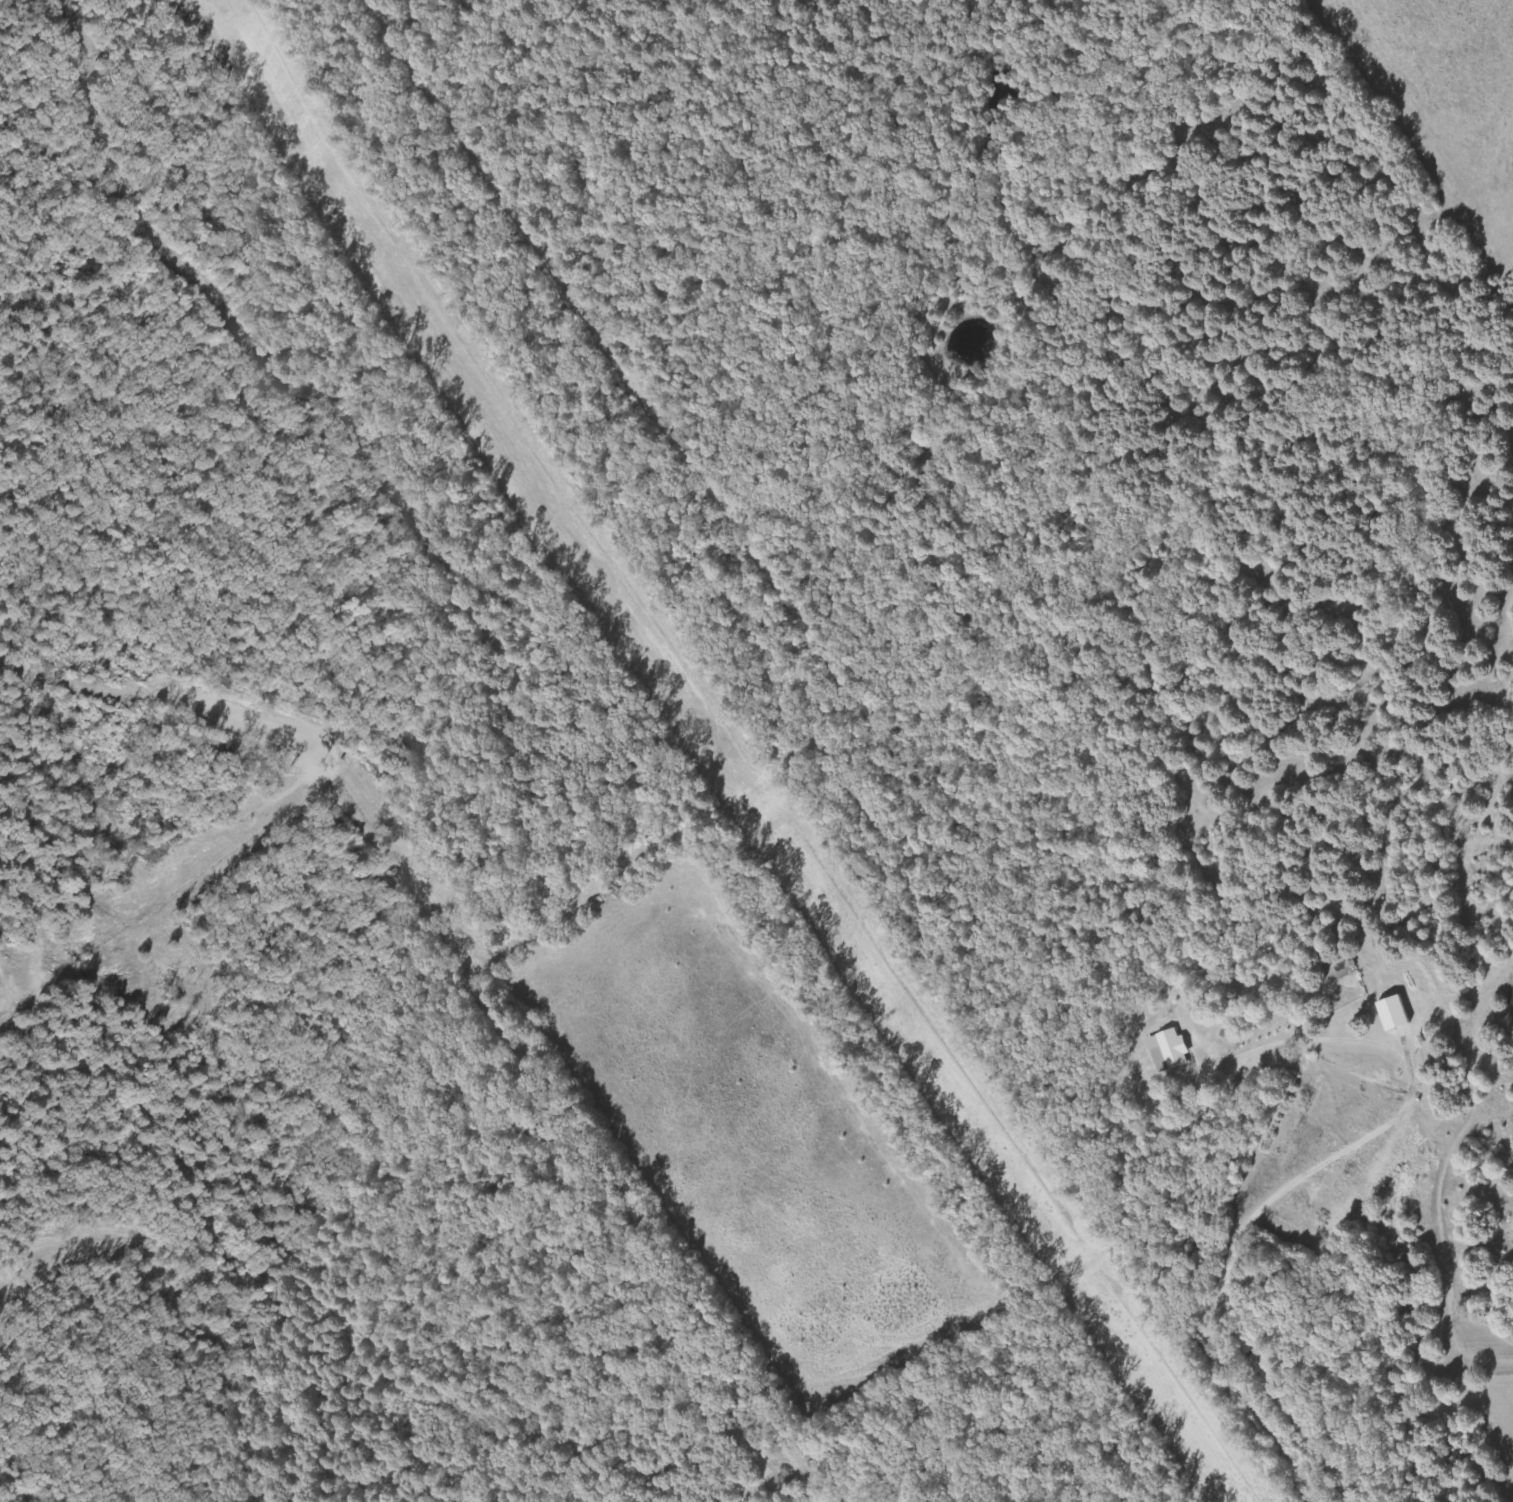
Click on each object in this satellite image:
building: (1397, 1014)
building: (1171, 1051)

